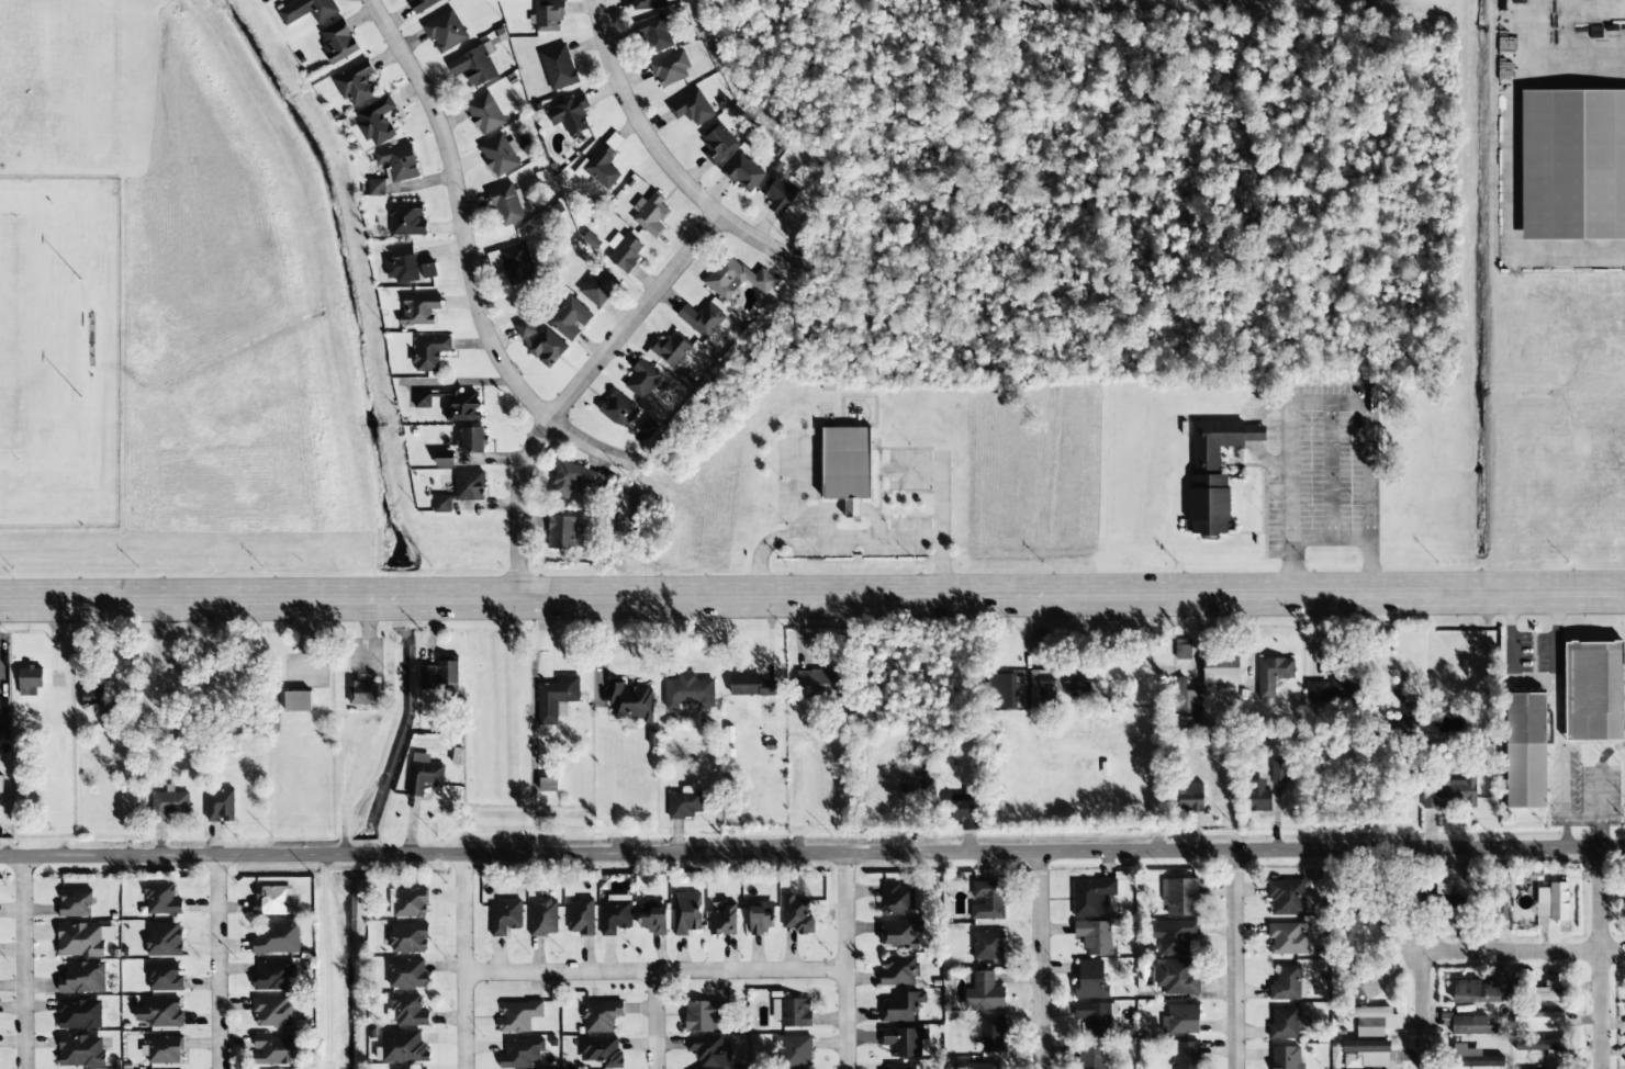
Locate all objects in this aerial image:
building: (423, 4)
building: (648, 4)
building: (306, 10)
building: (548, 16)
building: (445, 31)
building: (654, 34)
building: (337, 42)
road: (1555, 52)
building: (473, 65)
building: (558, 67)
building: (671, 69)
building: (355, 85)
building: (692, 108)
building: (484, 113)
building: (570, 114)
building: (376, 121)
building: (717, 143)
building: (498, 155)
road: (663, 158)
building: (397, 162)
building: (604, 162)
building: (1571, 165)
building: (743, 173)
building: (376, 188)
building: (778, 192)
building: (506, 204)
building: (650, 215)
building: (406, 218)
building: (623, 252)
road: (469, 257)
building: (515, 263)
building: (408, 266)
building: (736, 278)
building: (598, 286)
building: (418, 310)
building: (568, 318)
building: (702, 319)
building: (540, 344)
building: (428, 352)
building: (641, 380)
road: (579, 387)
building: (422, 401)
building: (462, 406)
building: (617, 409)
building: (648, 427)
building: (472, 440)
building: (442, 459)
building: (845, 465)
building: (1213, 473)
building: (574, 480)
building: (469, 485)
building: (441, 504)
building: (561, 532)
road: (812, 592)
building: (1183, 649)
building: (1221, 669)
building: (439, 674)
building: (1273, 675)
building: (30, 680)
building: (1075, 680)
building: (816, 684)
building: (752, 686)
building: (1041, 690)
building: (1332, 690)
building: (1005, 691)
building: (1591, 691)
building: (362, 693)
building: (687, 694)
building: (92, 696)
building: (296, 701)
building: (629, 702)
building: (1187, 707)
building: (1413, 710)
building: (3, 719)
building: (1522, 751)
building: (1278, 770)
building: (423, 774)
building: (1382, 792)
building: (1447, 794)
building: (1190, 797)
building: (1258, 797)
building: (683, 804)
building: (220, 806)
building: (963, 813)
road: (811, 852)
building: (1179, 897)
building: (1286, 898)
building: (1498, 898)
building: (896, 899)
building: (161, 900)
building: (269, 900)
building: (987, 900)
building: (1546, 900)
building: (1445, 901)
building: (75, 903)
building: (407, 903)
road: (464, 909)
building: (1621, 911)
building: (686, 913)
building: (615, 914)
building: (796, 914)
building: (1092, 914)
building: (580, 916)
building: (504, 918)
building: (543, 918)
building: (761, 918)
building: (652, 920)
building: (722, 920)
building: (1349, 927)
building: (898, 934)
building: (1174, 937)
building: (277, 938)
building: (407, 938)
building: (1287, 938)
building: (164, 939)
building: (82, 941)
building: (988, 946)
road: (1536, 953)
road: (1600, 959)
road: (847, 960)
road: (1040, 960)
road: (1235, 960)
road: (24, 963)
road: (225, 964)
road: (657, 967)
building: (898, 971)
building: (407, 975)
building: (273, 976)
building: (164, 977)
building: (1176, 977)
building: (82, 978)
building: (1089, 981)
building: (1286, 984)
building: (1478, 990)
building: (1545, 991)
building: (984, 993)
road: (1423, 1001)
building: (900, 1006)
building: (407, 1011)
building: (271, 1012)
building: (792, 1012)
building: (160, 1013)
building: (79, 1014)
building: (599, 1015)
building: (702, 1015)
building: (518, 1016)
road: (464, 1017)
road: (660, 1017)
building: (1536, 1017)
building: (1095, 1019)
building: (1180, 1020)
building: (1374, 1021)
building: (1285, 1024)
building: (1468, 1025)
building: (989, 1033)
building: (903, 1040)
building: (1536, 1045)
building: (403, 1047)
building: (162, 1050)
building: (274, 1050)
building: (80, 1051)
building: (601, 1051)
building: (708, 1051)
building: (796, 1051)
building: (522, 1054)
building: (1365, 1054)
building: (1091, 1056)
building: (1184, 1056)
building: (1286, 1057)
building: (1470, 1057)
building: (980, 1066)
building: (899, 1067)
building: (416, 1068)

